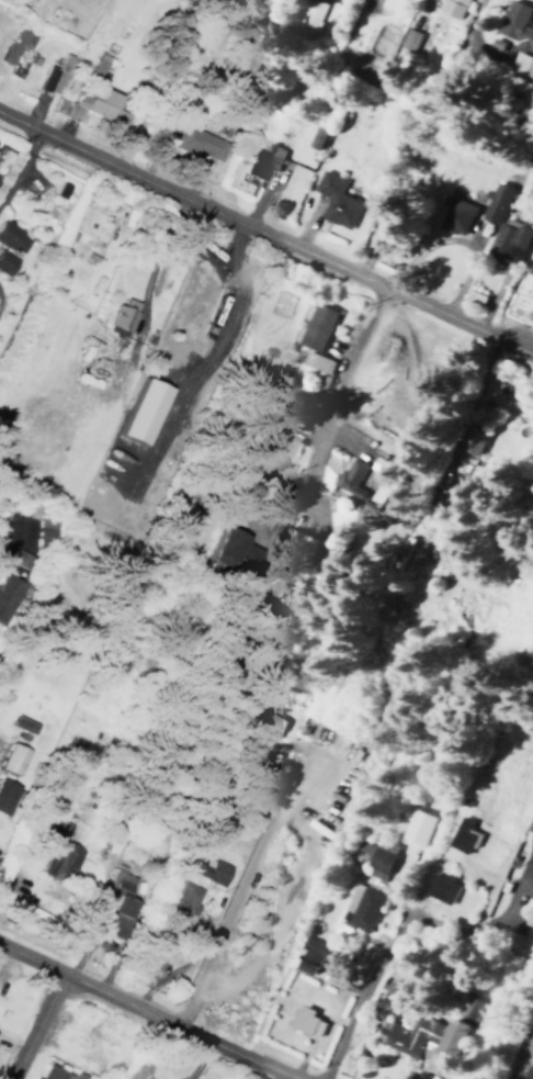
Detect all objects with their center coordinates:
building: (451, 8)
building: (306, 18)
building: (514, 25)
building: (377, 37)
building: (13, 44)
building: (521, 66)
building: (97, 67)
building: (52, 75)
building: (93, 105)
building: (313, 136)
building: (192, 141)
road: (22, 160)
building: (332, 200)
building: (492, 202)
building: (453, 214)
road: (266, 228)
building: (10, 238)
building: (507, 239)
building: (529, 261)
building: (3, 262)
building: (470, 297)
building: (223, 299)
building: (115, 317)
building: (315, 326)
building: (316, 361)
road: (338, 384)
road: (122, 389)
building: (469, 439)
building: (262, 445)
building: (322, 499)
building: (530, 508)
road: (5, 537)
building: (295, 539)
building: (441, 546)
building: (229, 550)
building: (4, 587)
building: (259, 719)
building: (10, 756)
building: (3, 793)
building: (529, 821)
building: (416, 825)
building: (458, 834)
building: (56, 848)
building: (371, 858)
building: (532, 858)
building: (206, 869)
building: (438, 886)
road: (233, 887)
building: (180, 899)
building: (114, 900)
building: (356, 906)
road: (382, 944)
building: (307, 953)
road: (31, 954)
building: (302, 1020)
road: (35, 1024)
road: (183, 1024)
building: (429, 1032)
road: (515, 1039)
building: (49, 1072)
building: (526, 1072)
building: (78, 1075)

